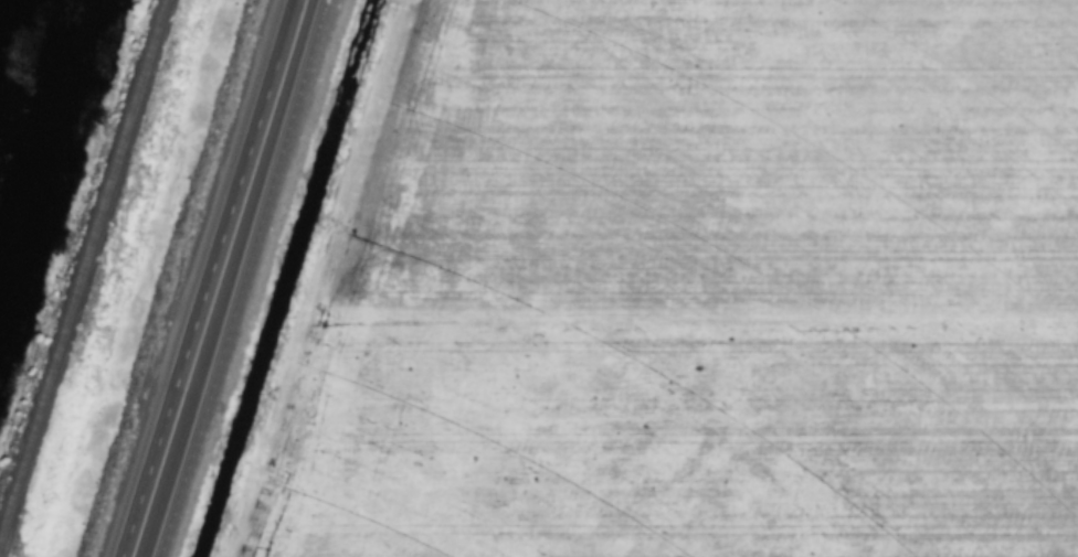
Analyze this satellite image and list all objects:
road: (295, 6)
railway: (81, 263)
road: (210, 285)
crop: (683, 288)

